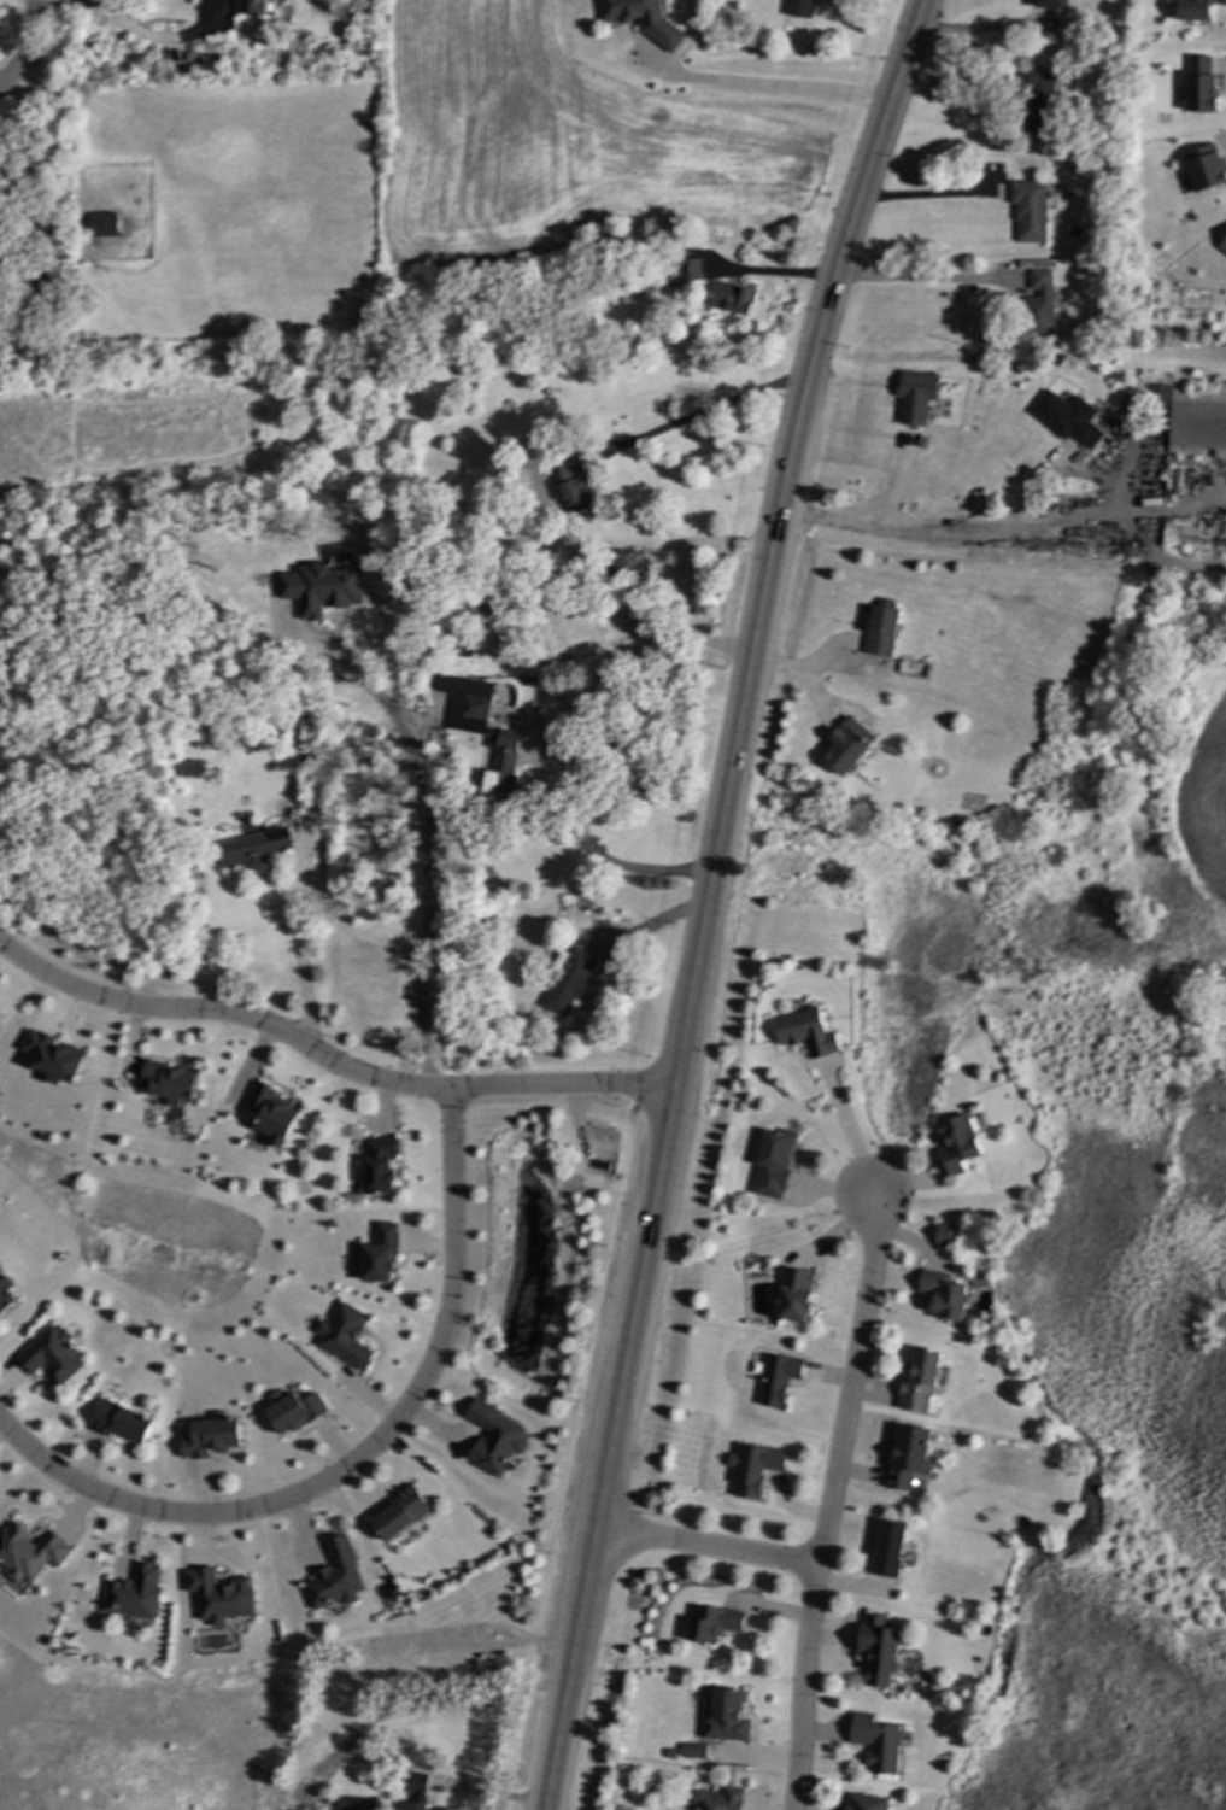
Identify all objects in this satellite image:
building: (1048, 2)
building: (248, 6)
building: (798, 8)
building: (1197, 11)
building: (643, 19)
road: (985, 27)
road: (137, 34)
building: (1110, 35)
road: (28, 46)
road: (784, 89)
building: (1198, 90)
building: (1034, 102)
crop: (550, 140)
building: (1201, 166)
road: (926, 192)
building: (1030, 209)
building: (104, 224)
building: (1225, 244)
building: (690, 270)
road: (768, 271)
road: (914, 280)
building: (732, 298)
building: (1038, 303)
building: (1162, 394)
building: (916, 397)
building: (1132, 403)
road: (714, 409)
building: (1070, 416)
building: (1198, 421)
building: (571, 490)
building: (1183, 525)
building: (1199, 527)
road: (1002, 528)
building: (633, 567)
building: (324, 587)
building: (884, 628)
road: (652, 642)
building: (465, 703)
building: (847, 746)
building: (501, 767)
road: (551, 807)
crop: (1204, 813)
road: (424, 843)
building: (252, 849)
road: (708, 898)
road: (300, 955)
building: (570, 982)
building: (805, 1032)
building: (52, 1058)
road: (327, 1059)
building: (169, 1083)
building: (271, 1114)
road: (851, 1138)
building: (958, 1143)
building: (773, 1164)
building: (380, 1165)
building: (944, 1235)
building: (380, 1254)
building: (794, 1295)
building: (944, 1295)
building: (6, 1296)
building: (345, 1336)
building: (53, 1355)
building: (776, 1380)
building: (919, 1382)
building: (294, 1411)
building: (122, 1422)
building: (495, 1439)
building: (908, 1455)
road: (357, 1458)
building: (752, 1469)
road: (828, 1507)
building: (401, 1513)
road: (708, 1548)
building: (888, 1548)
building: (30, 1552)
building: (336, 1576)
building: (135, 1593)
building: (219, 1597)
building: (712, 1623)
building: (878, 1650)
road: (423, 1709)
building: (725, 1716)
building: (878, 1742)
building: (692, 1751)
building: (416, 1793)
building: (716, 1799)
building: (357, 1803)
building: (867, 1803)

